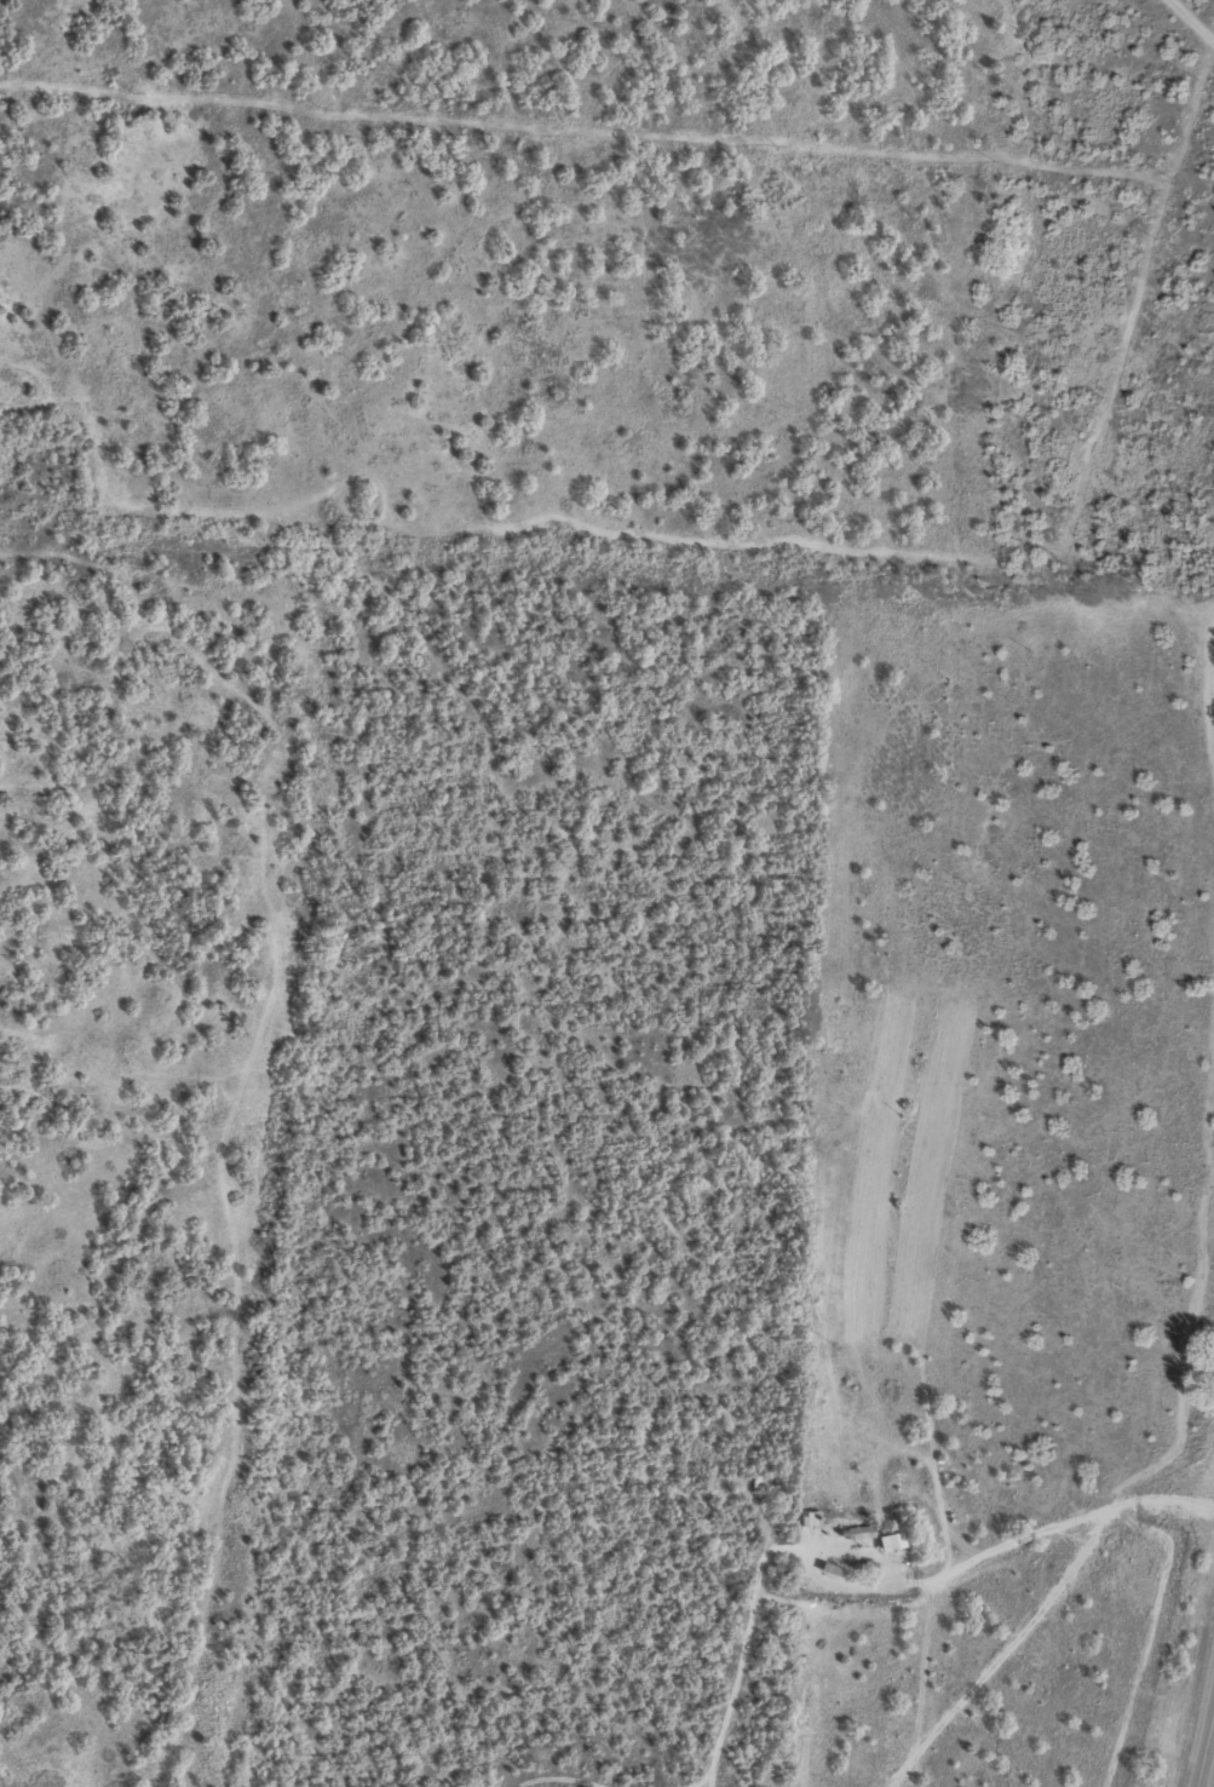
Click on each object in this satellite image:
building: (891, 1540)
road: (1204, 1749)

